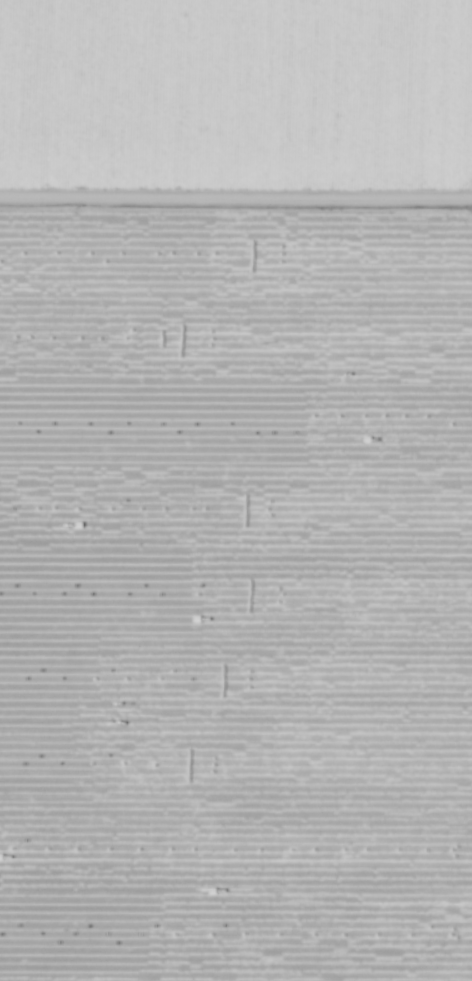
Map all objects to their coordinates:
crop: (235, 111)
road: (236, 193)
crop: (236, 283)
crop: (236, 661)

